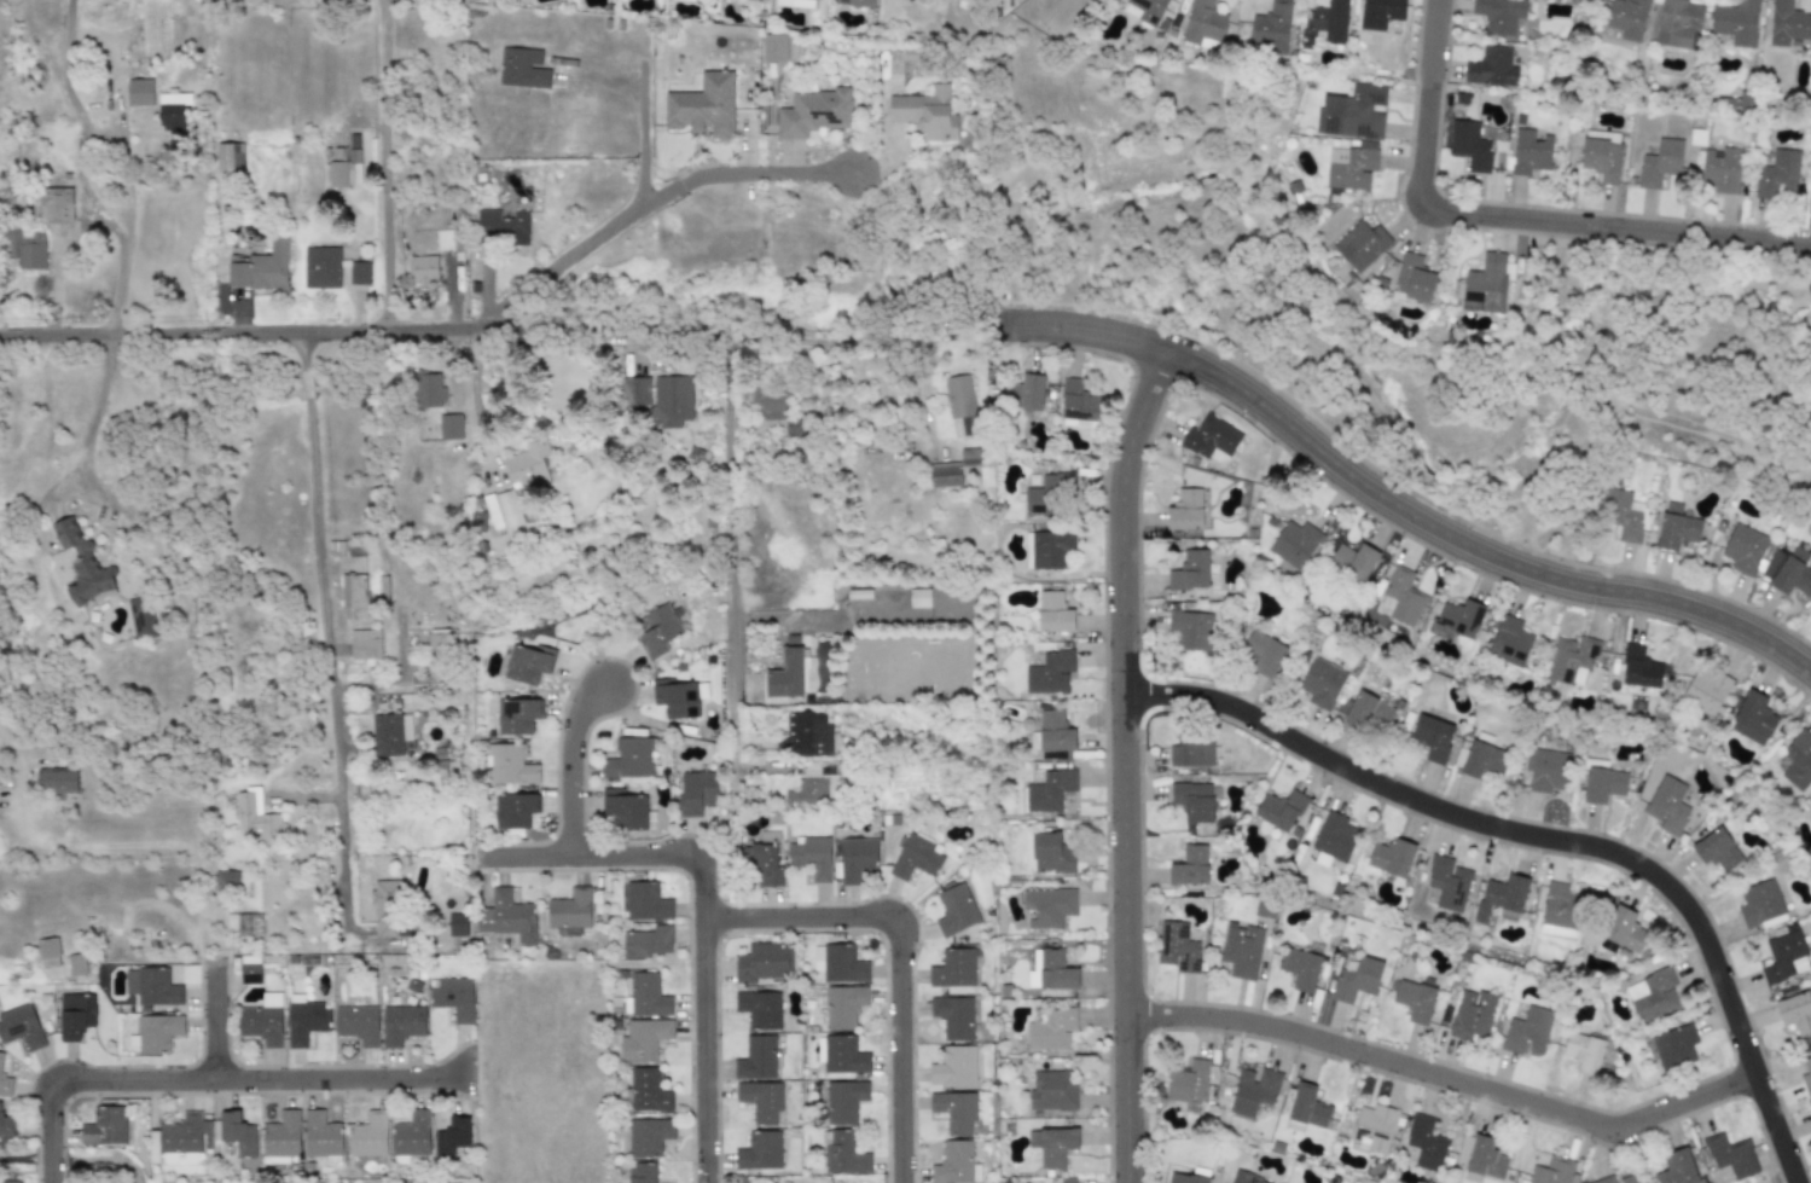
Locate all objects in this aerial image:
building: (907, 0)
building: (1099, 0)
building: (860, 2)
road: (387, 8)
building: (1144, 10)
building: (1380, 12)
building: (1498, 15)
building: (1626, 17)
building: (1678, 22)
building: (1735, 22)
building: (1202, 23)
building: (1324, 23)
building: (1788, 23)
building: (1270, 28)
road: (1433, 42)
building: (774, 47)
building: (522, 68)
building: (1491, 68)
building: (139, 92)
building: (703, 106)
building: (172, 109)
building: (1353, 111)
building: (814, 112)
building: (925, 112)
road: (643, 118)
building: (1469, 145)
building: (1528, 152)
building: (1601, 155)
building: (230, 157)
building: (1660, 162)
building: (1349, 168)
building: (1722, 169)
building: (344, 170)
building: (1776, 174)
road: (391, 178)
building: (57, 204)
road: (648, 210)
road: (1555, 222)
building: (504, 230)
building: (443, 240)
building: (1360, 244)
building: (28, 247)
building: (323, 267)
building: (423, 271)
building: (359, 272)
building: (261, 273)
building: (1412, 278)
road: (118, 279)
building: (1485, 284)
road: (1084, 327)
road: (598, 335)
road: (234, 340)
building: (428, 389)
building: (634, 392)
building: (1023, 393)
building: (959, 396)
building: (669, 401)
building: (767, 402)
building: (1078, 404)
road: (477, 406)
building: (451, 425)
building: (1211, 440)
building: (969, 457)
building: (529, 468)
building: (944, 474)
building: (1049, 493)
building: (1184, 510)
building: (503, 511)
building: (1623, 514)
building: (477, 522)
building: (1676, 528)
road: (730, 532)
building: (1294, 544)
road: (1470, 545)
building: (1047, 549)
building: (1743, 549)
building: (352, 552)
building: (1353, 561)
building: (81, 563)
building: (1772, 566)
building: (1190, 570)
building: (1793, 573)
building: (383, 591)
building: (355, 596)
building: (918, 598)
building: (1400, 598)
road: (842, 610)
building: (1052, 613)
building: (145, 619)
building: (1457, 619)
road: (323, 628)
building: (656, 630)
building: (1190, 630)
building: (440, 640)
building: (1509, 640)
building: (365, 644)
building: (1263, 653)
building: (1571, 660)
building: (528, 663)
building: (1639, 668)
building: (1049, 672)
building: (791, 674)
building: (425, 683)
building: (1320, 683)
building: (1706, 691)
building: (677, 700)
building: (1369, 713)
building: (516, 715)
building: (1753, 719)
building: (801, 732)
building: (391, 733)
building: (1053, 737)
building: (1433, 737)
building: (1191, 750)
building: (628, 758)
building: (1482, 758)
building: (1798, 760)
road: (1124, 762)
building: (509, 765)
road: (576, 765)
building: (1545, 769)
building: (57, 781)
building: (1603, 784)
building: (1049, 790)
building: (807, 791)
building: (696, 793)
building: (1194, 801)
building: (1667, 805)
building: (623, 808)
building: (511, 810)
building: (1279, 810)
building: (254, 817)
building: (1333, 839)
road: (1548, 839)
building: (1716, 849)
building: (1050, 852)
road: (598, 856)
building: (811, 857)
building: (1391, 857)
building: (855, 858)
building: (915, 858)
building: (765, 865)
building: (1189, 866)
building: (227, 878)
building: (1447, 883)
building: (384, 894)
building: (1501, 897)
building: (643, 901)
building: (1759, 903)
building: (1049, 906)
building: (569, 909)
building: (954, 910)
building: (1558, 910)
building: (248, 923)
building: (457, 924)
building: (1624, 929)
building: (646, 941)
building: (1177, 946)
building: (1241, 950)
building: (48, 952)
building: (1784, 957)
road: (900, 961)
building: (764, 962)
building: (838, 963)
building: (76, 964)
building: (1301, 967)
building: (953, 968)
building: (249, 969)
building: (1052, 969)
building: (1357, 980)
building: (151, 986)
building: (644, 994)
building: (1653, 994)
building: (452, 997)
building: (1412, 998)
building: (842, 1005)
building: (759, 1008)
building: (1795, 1013)
building: (1472, 1014)
building: (75, 1015)
building: (953, 1016)
building: (262, 1020)
building: (304, 1020)
building: (358, 1023)
building: (401, 1023)
building: (21, 1026)
road: (221, 1028)
road: (709, 1028)
building: (1051, 1030)
building: (1527, 1031)
building: (156, 1033)
building: (643, 1039)
building: (1672, 1046)
building: (1584, 1051)
building: (841, 1054)
building: (755, 1059)
building: (953, 1066)
building: (1806, 1075)
road: (1444, 1077)
building: (1188, 1081)
road: (352, 1088)
road: (94, 1089)
building: (648, 1090)
building: (1253, 1090)
building: (1051, 1091)
building: (760, 1100)
building: (843, 1101)
building: (1306, 1108)
building: (954, 1109)
building: (6, 1125)
building: (104, 1126)
building: (1372, 1127)
building: (237, 1132)
building: (281, 1135)
building: (368, 1135)
building: (411, 1135)
building: (321, 1136)
building: (648, 1136)
building: (451, 1137)
building: (184, 1139)
building: (1424, 1143)
building: (1055, 1146)
building: (759, 1150)
building: (842, 1153)
building: (1730, 1155)
building: (1484, 1160)
building: (954, 1164)
building: (1677, 1167)
building: (1551, 1171)
building: (640, 1172)
building: (1238, 1176)
building: (1184, 1178)
building: (1068, 1179)
building: (1615, 1179)
building: (10, 1181)
building: (1263, 1182)

